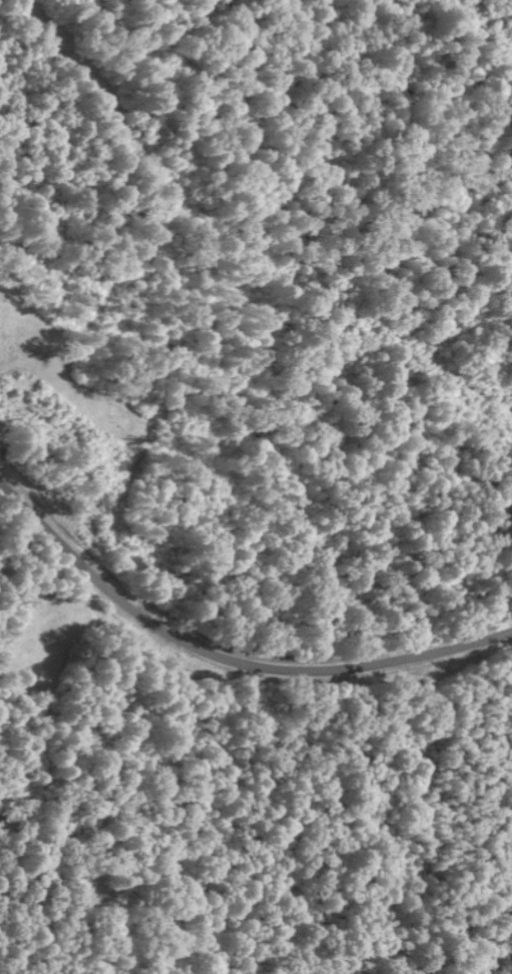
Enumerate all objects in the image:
road: (226, 658)

